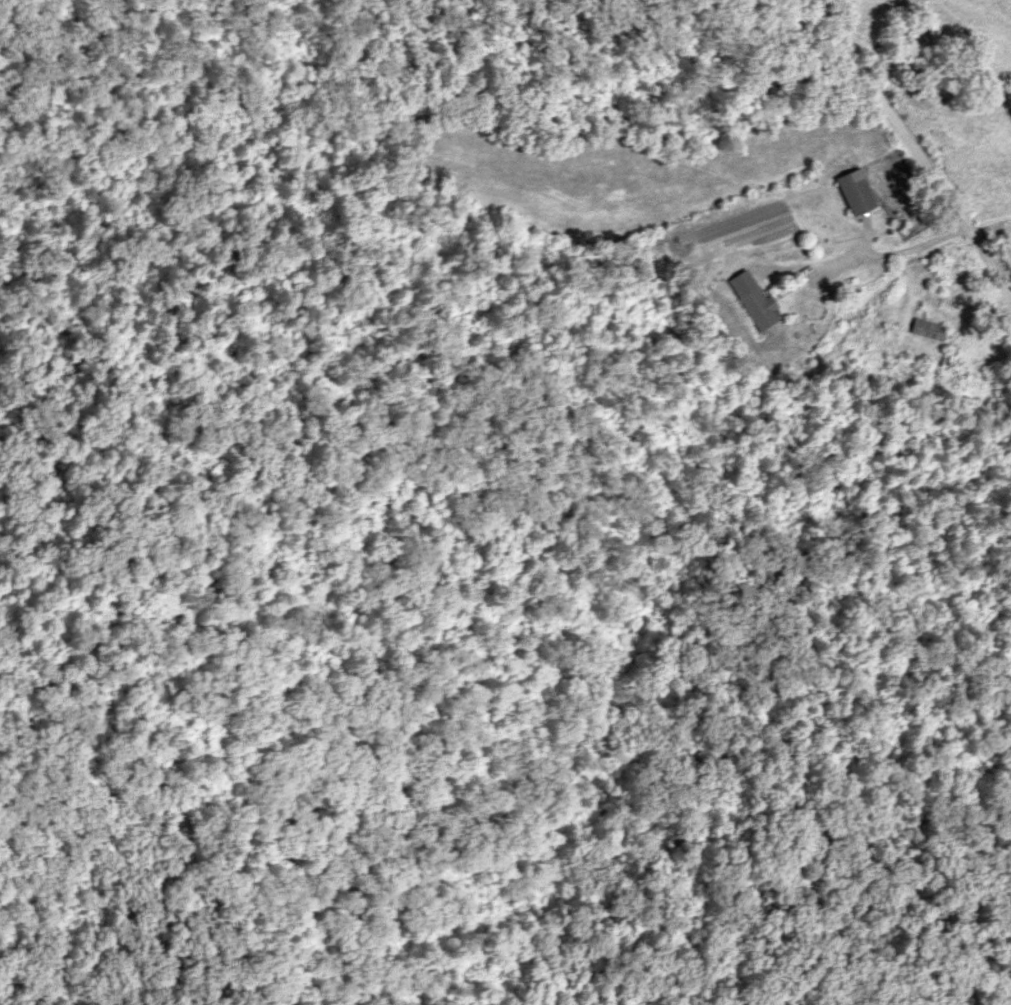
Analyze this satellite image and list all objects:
road: (922, 151)
building: (850, 190)
building: (757, 306)

